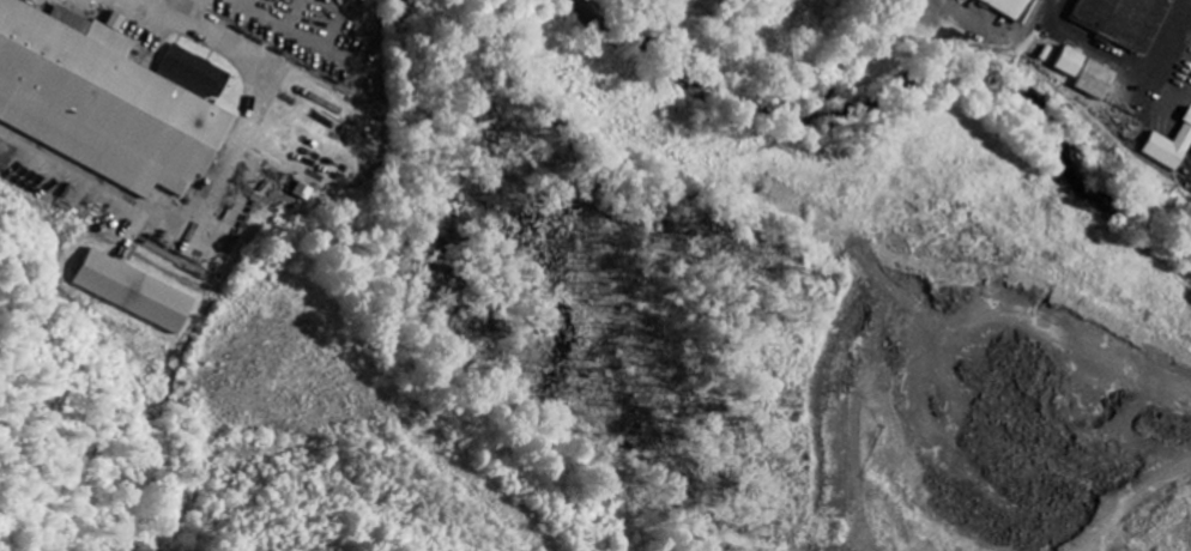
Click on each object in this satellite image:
building: (1010, 8)
building: (1118, 19)
river: (917, 57)
building: (192, 74)
building: (1083, 74)
building: (101, 101)
building: (1168, 145)
building: (134, 292)

